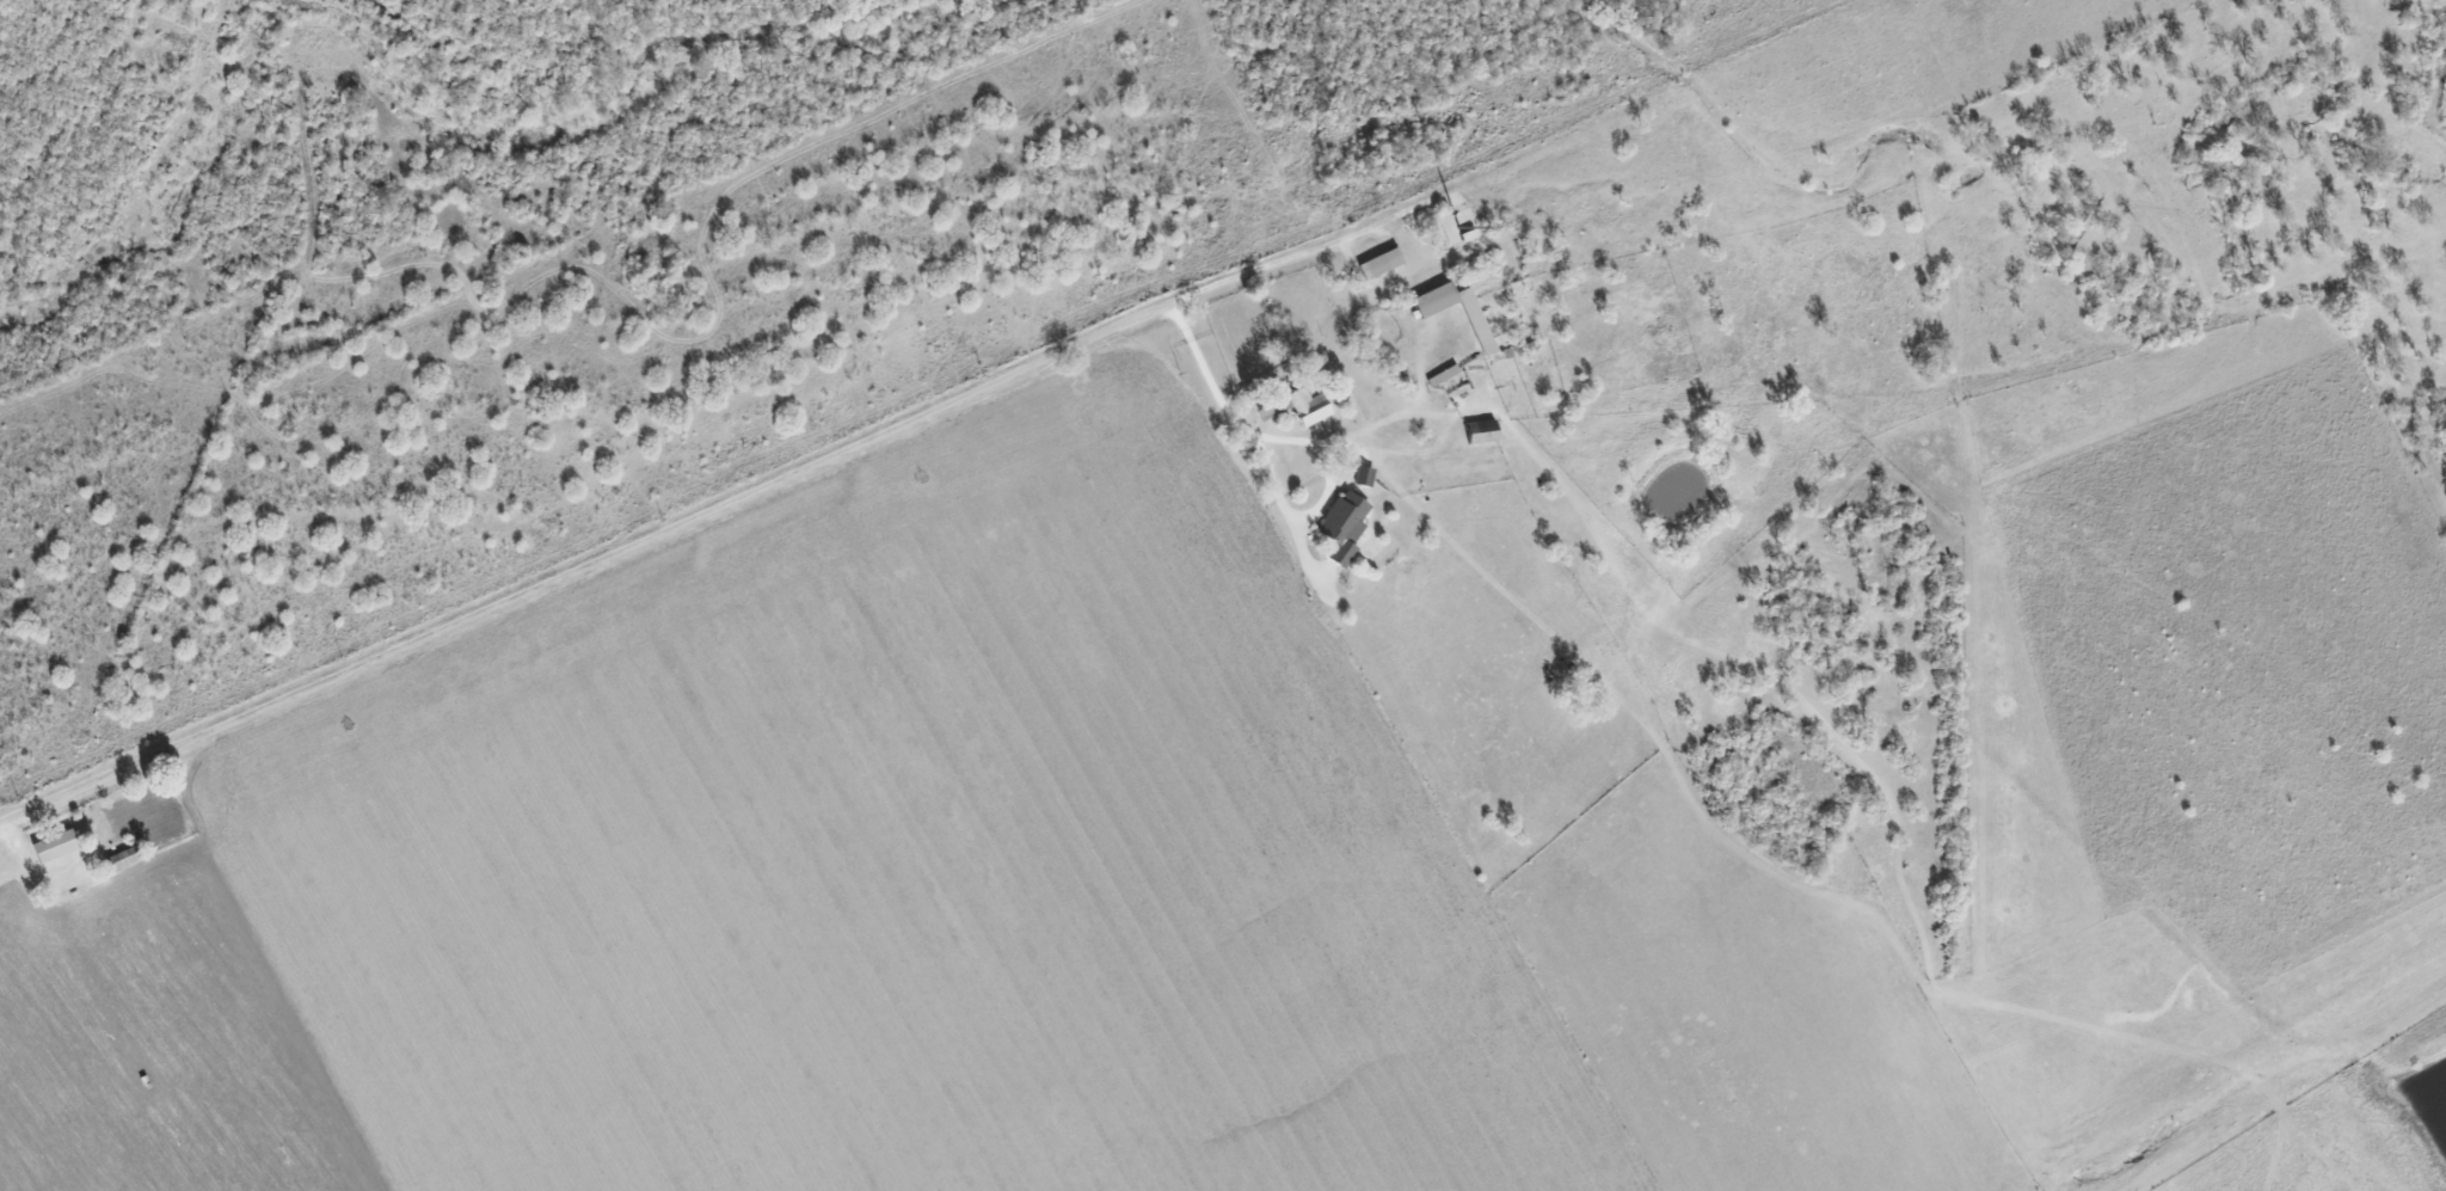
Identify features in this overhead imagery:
road: (1276, 260)
building: (1378, 264)
building: (1432, 300)
building: (1291, 406)
road: (1270, 474)
building: (1340, 527)
road: (585, 564)
building: (51, 847)

